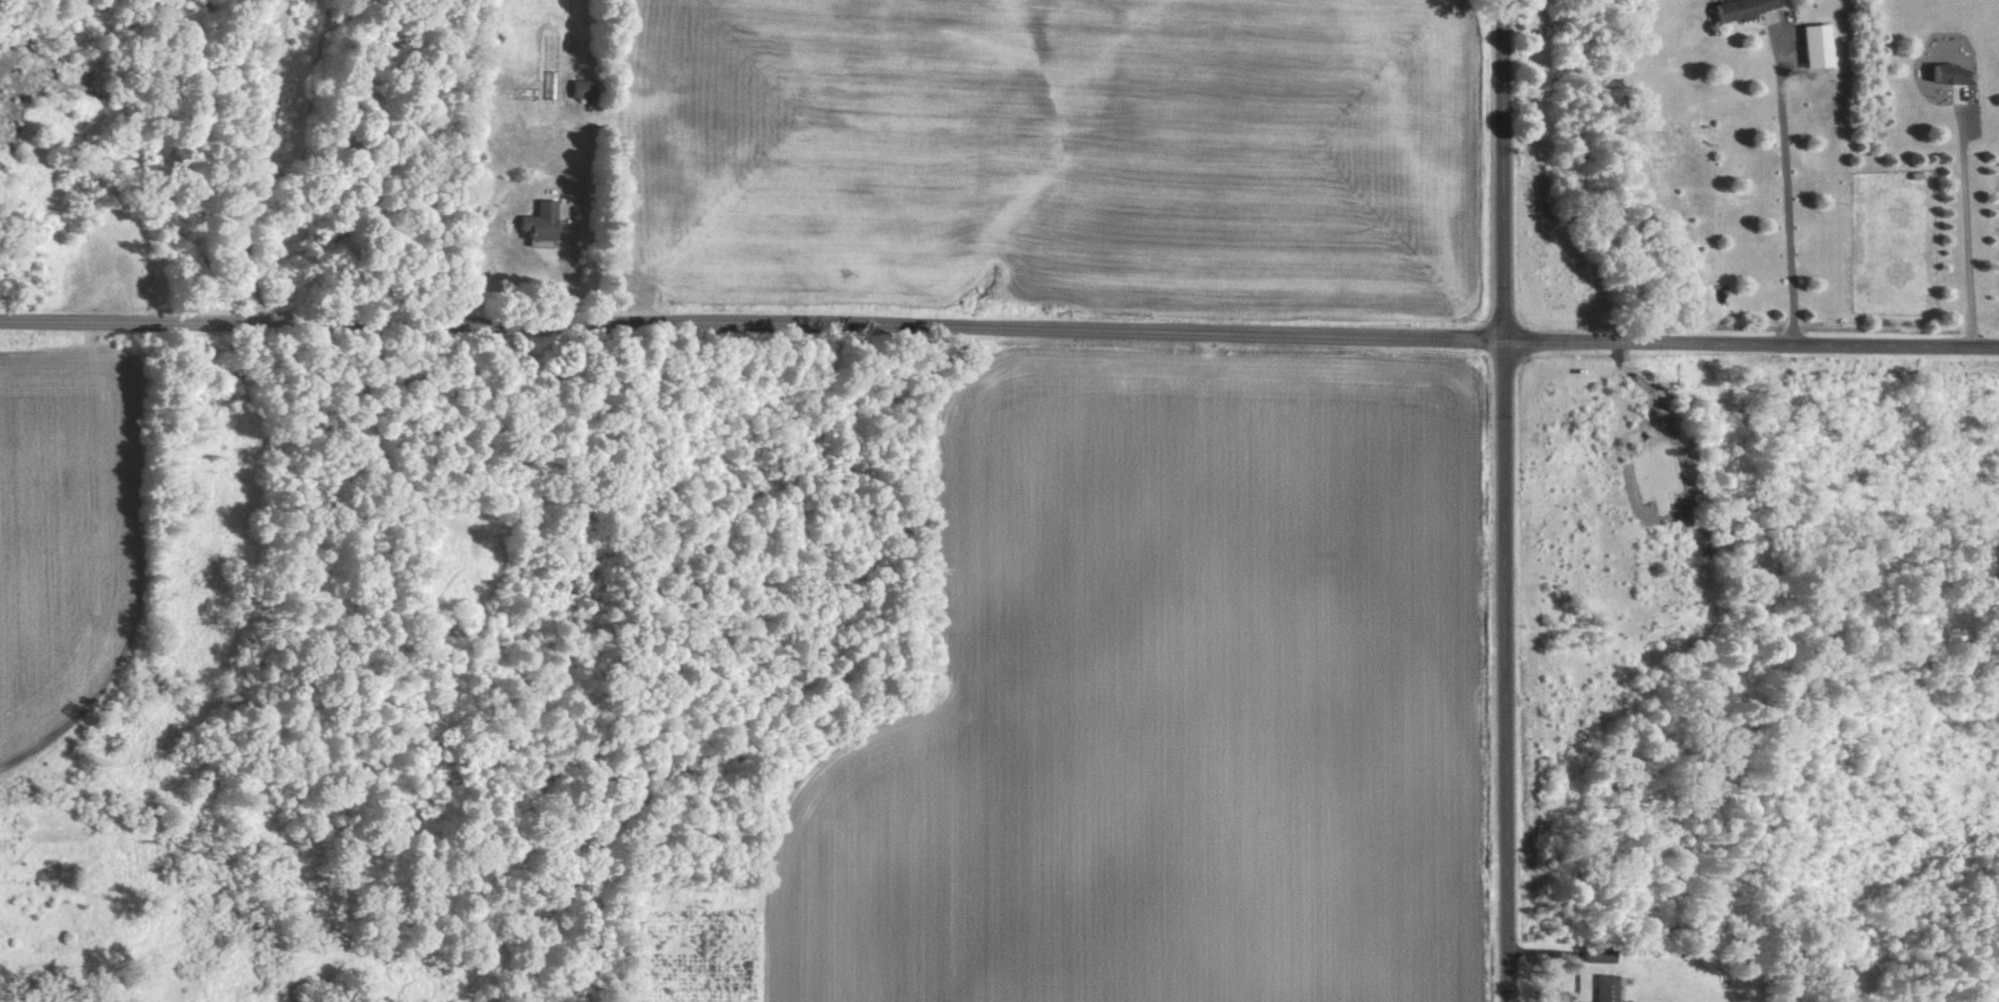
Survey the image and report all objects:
building: (1735, 8)
building: (1811, 45)
building: (1941, 73)
building: (577, 88)
road: (258, 162)
road: (1503, 170)
road: (1784, 192)
road: (1958, 222)
building: (534, 223)
road: (591, 256)
road: (751, 331)
road: (1751, 342)
road: (1505, 671)
road: (1561, 954)
building: (1600, 987)

